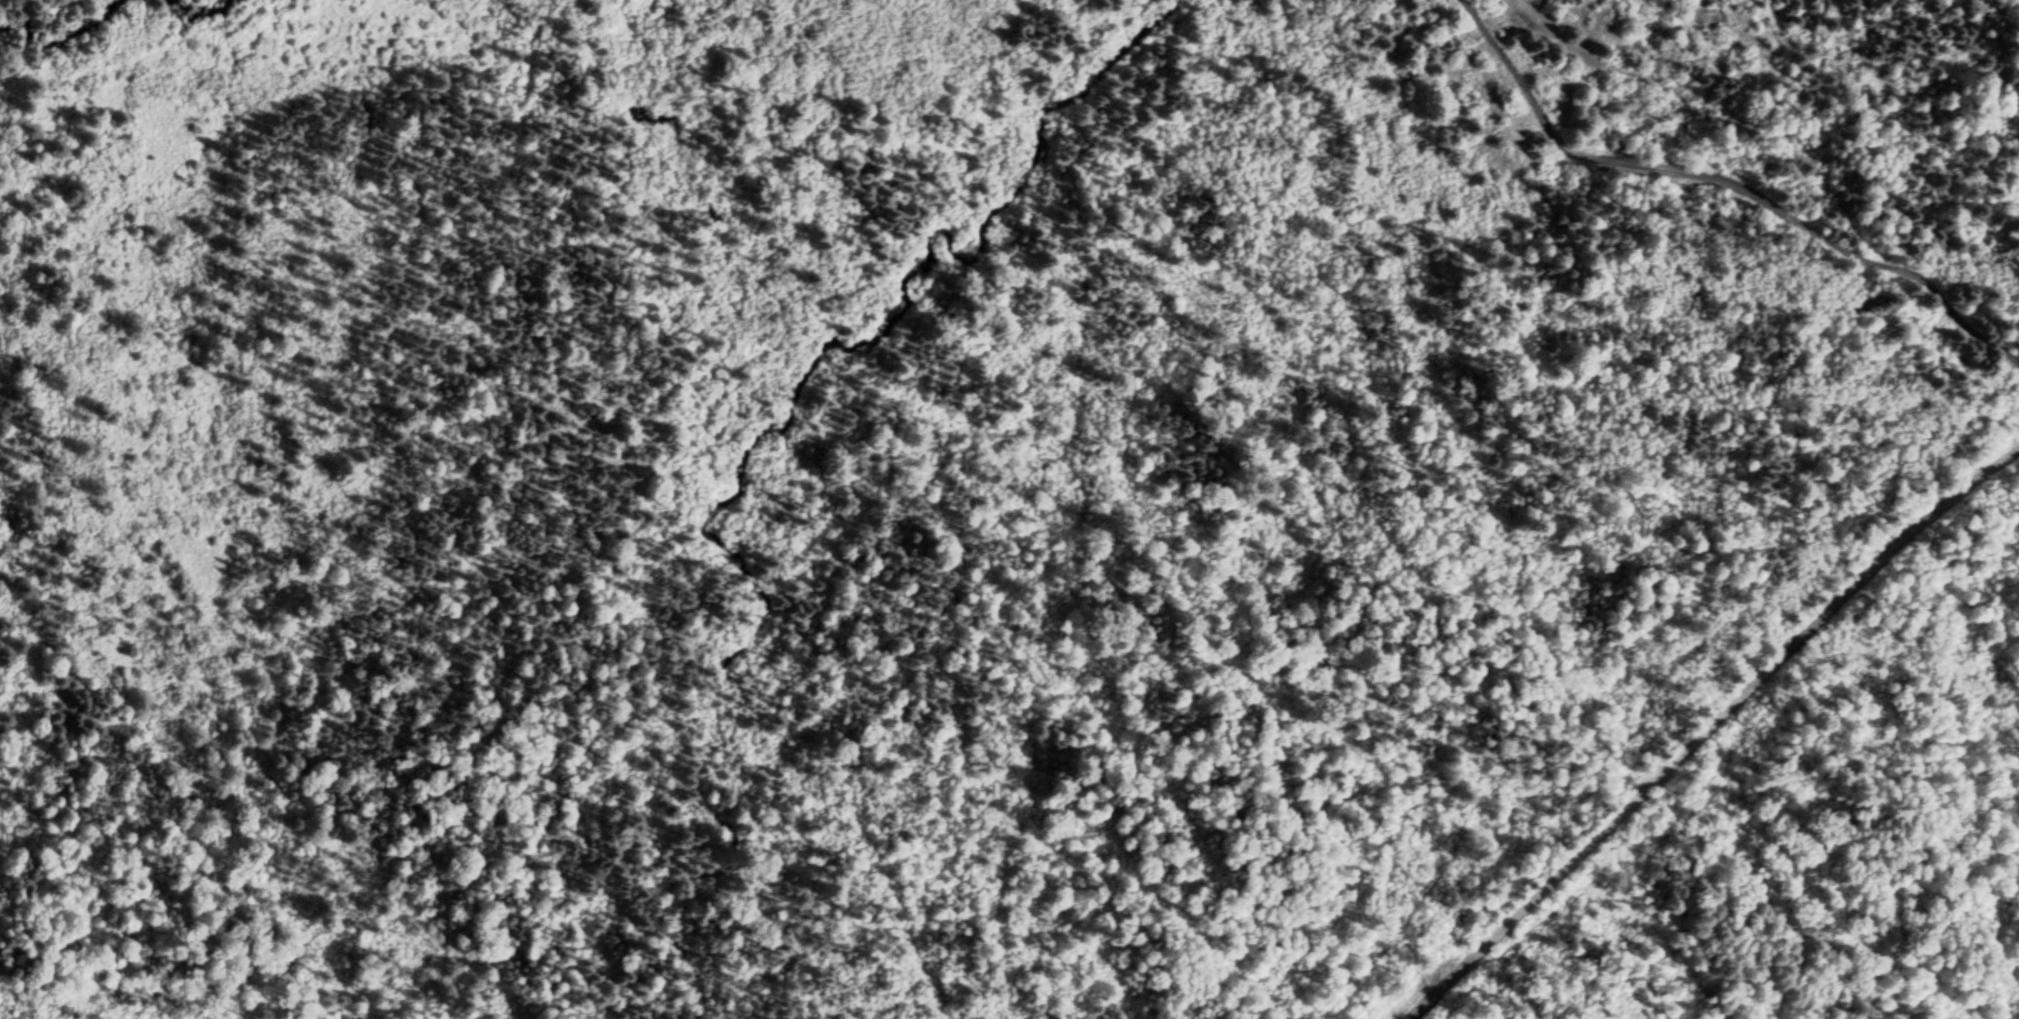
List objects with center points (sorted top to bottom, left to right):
river: (121, 31)
road: (1730, 178)
road: (1708, 723)

